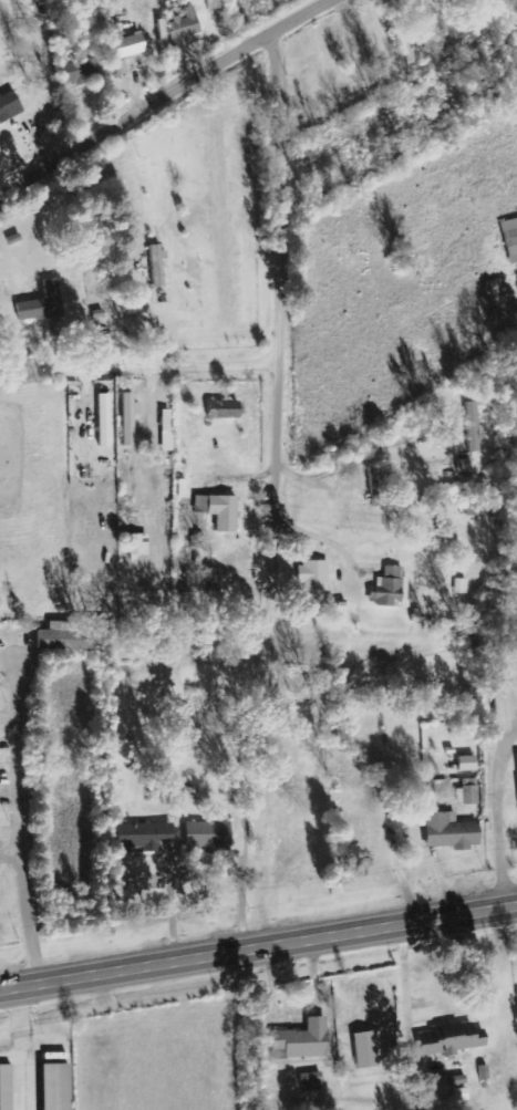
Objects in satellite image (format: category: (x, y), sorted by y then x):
building: (184, 31)
building: (127, 48)
building: (121, 69)
building: (82, 72)
road: (162, 94)
building: (9, 106)
building: (510, 239)
building: (157, 266)
road: (276, 273)
building: (43, 304)
building: (58, 330)
road: (205, 359)
building: (225, 411)
building: (130, 419)
building: (105, 421)
building: (465, 466)
building: (376, 488)
building: (220, 511)
building: (139, 546)
building: (313, 577)
building: (390, 589)
building: (65, 637)
building: (500, 710)
building: (468, 765)
building: (468, 793)
road: (15, 822)
building: (451, 832)
building: (209, 837)
building: (155, 838)
road: (8, 851)
road: (258, 950)
building: (304, 1040)
building: (451, 1040)
building: (368, 1051)
building: (312, 1082)
building: (58, 1087)
building: (7, 1088)

